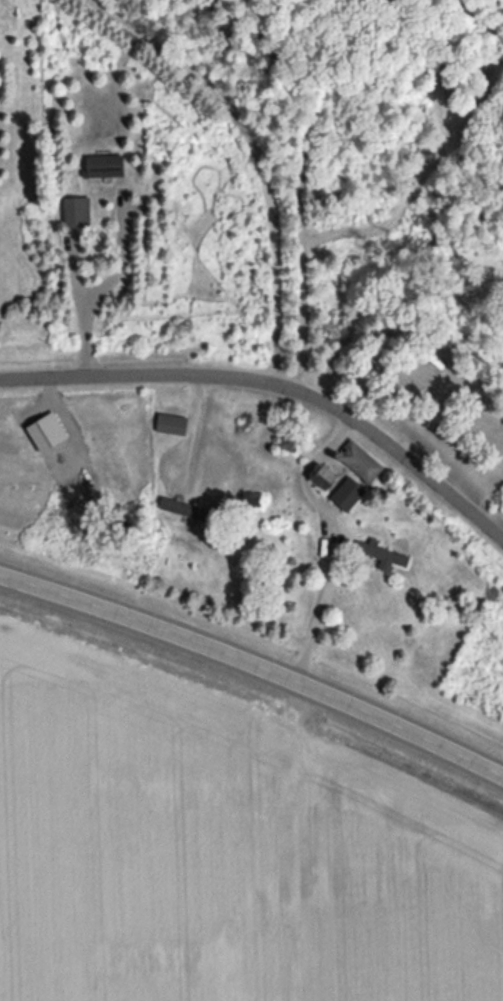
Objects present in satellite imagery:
road: (319, 111)
road: (256, 157)
building: (101, 165)
road: (421, 179)
road: (134, 206)
building: (73, 211)
road: (75, 267)
road: (106, 284)
building: (431, 361)
road: (277, 382)
building: (169, 423)
building: (45, 429)
building: (356, 461)
building: (313, 475)
building: (325, 476)
building: (343, 494)
building: (251, 498)
building: (172, 505)
building: (376, 553)
road: (255, 663)
crop: (224, 843)

